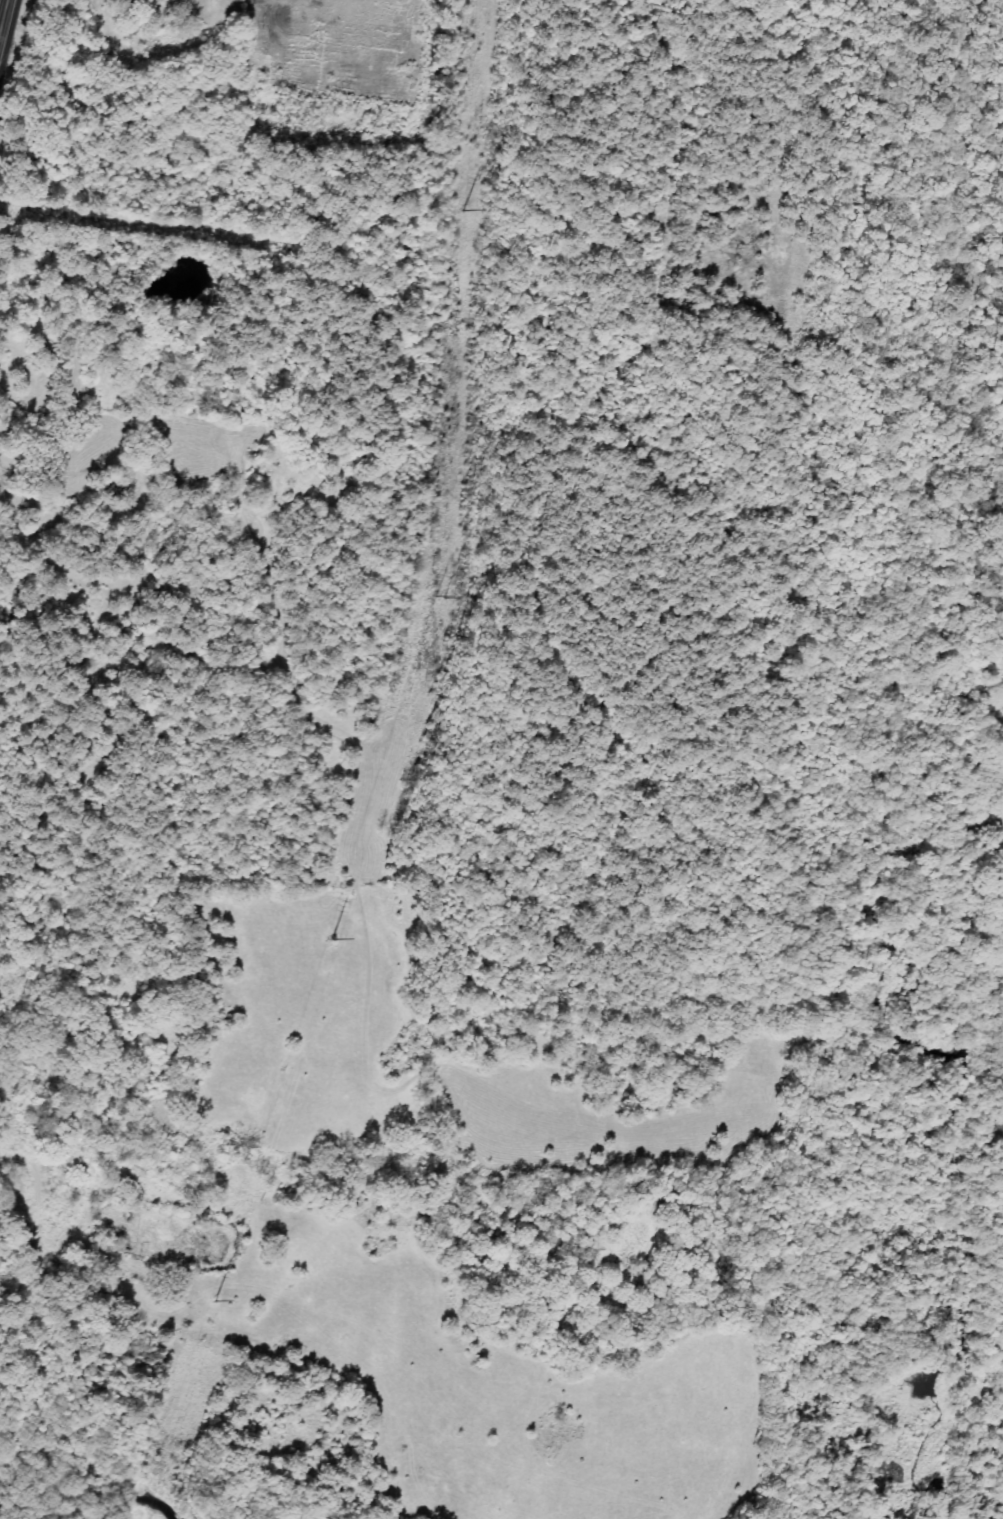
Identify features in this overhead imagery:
building: (187, 1)
road: (4, 18)
power tower: (468, 210)
road: (286, 579)
road: (141, 594)
power tower: (439, 598)
road: (317, 761)
power tower: (331, 939)
road: (1, 1263)
power tower: (215, 1301)
road: (40, 1437)

